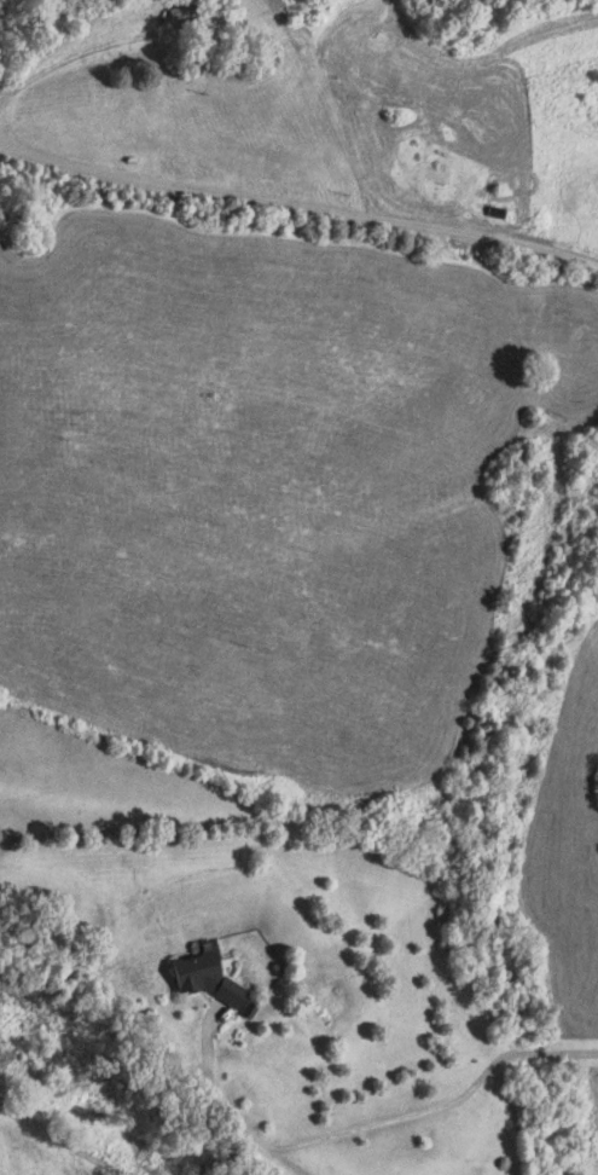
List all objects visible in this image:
building: (182, 16)
road: (137, 746)
building: (217, 978)
road: (168, 1024)

